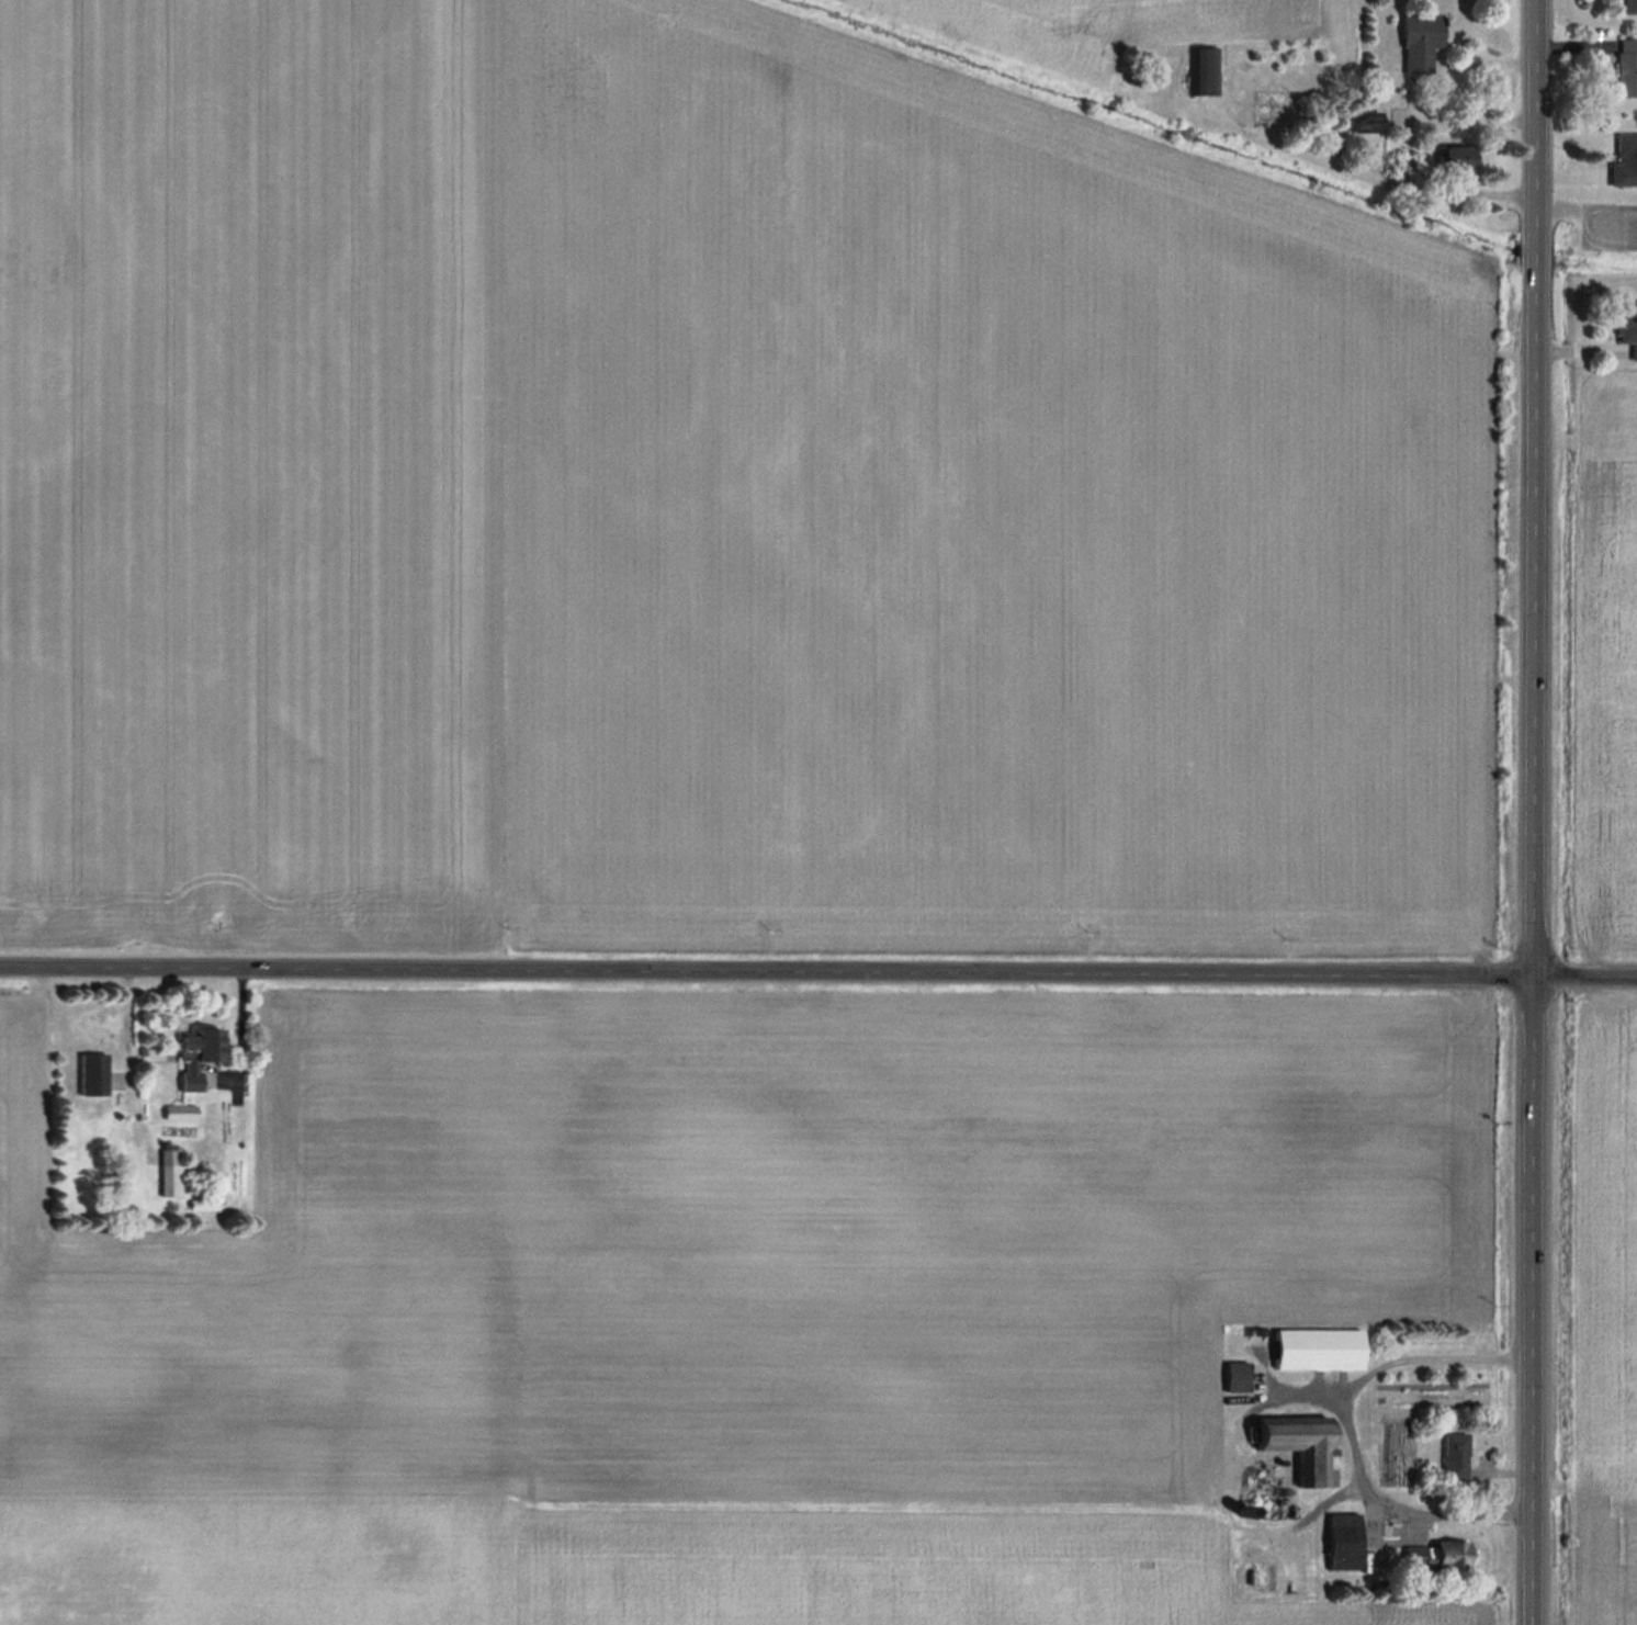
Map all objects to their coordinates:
building: (1628, 5)
building: (1418, 43)
building: (1626, 67)
building: (1204, 71)
building: (1363, 121)
building: (1457, 158)
building: (1624, 160)
building: (1627, 325)
road: (1535, 812)
road: (818, 972)
building: (196, 1054)
building: (92, 1073)
building: (169, 1172)
building: (122, 1176)
building: (202, 1204)
building: (1318, 1347)
building: (1237, 1376)
road: (1350, 1425)
building: (1300, 1445)
building: (1455, 1455)
building: (1344, 1542)
building: (1437, 1557)

